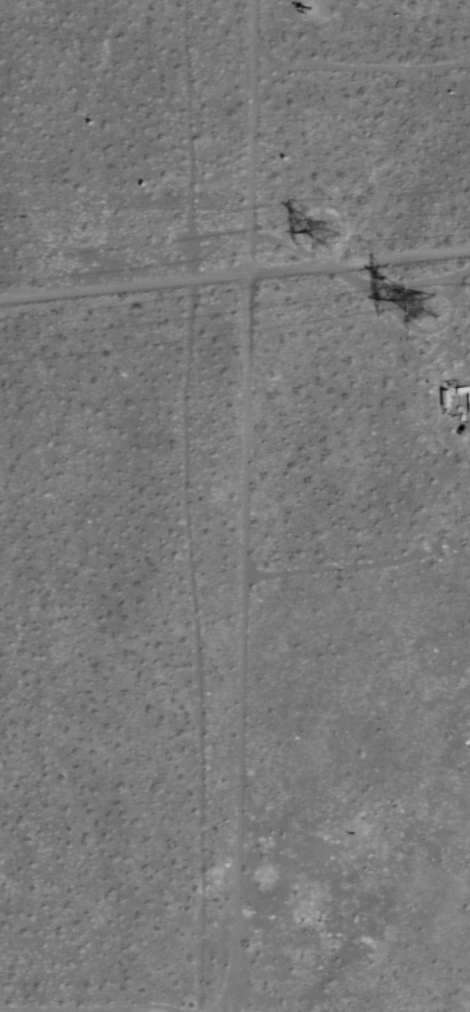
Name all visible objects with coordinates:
road: (117, 237)
power tower: (331, 242)
road: (235, 279)
power tower: (433, 313)
road: (238, 504)

